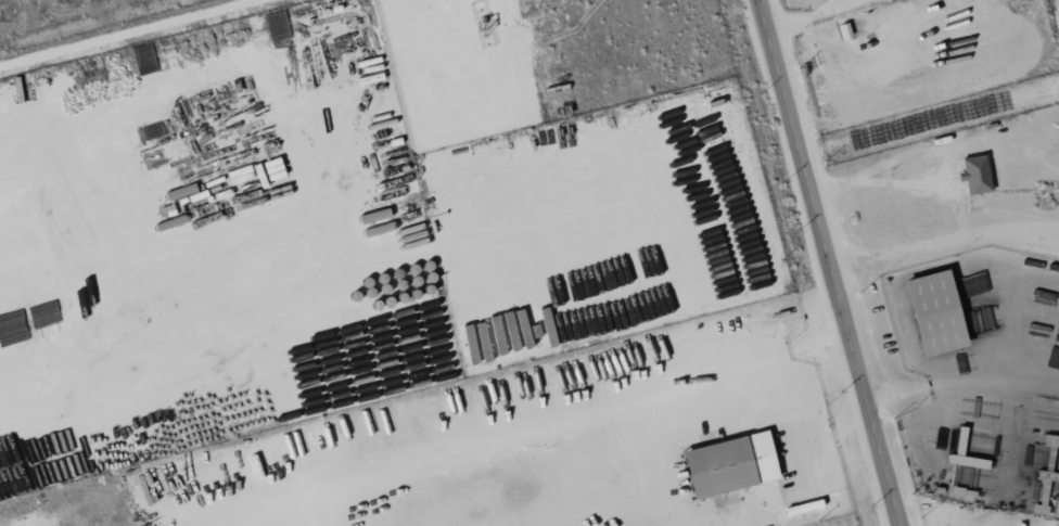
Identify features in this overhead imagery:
road: (811, 14)
building: (977, 175)
road: (950, 207)
road: (831, 262)
building: (937, 312)
road: (536, 428)
building: (732, 464)
building: (1057, 509)

